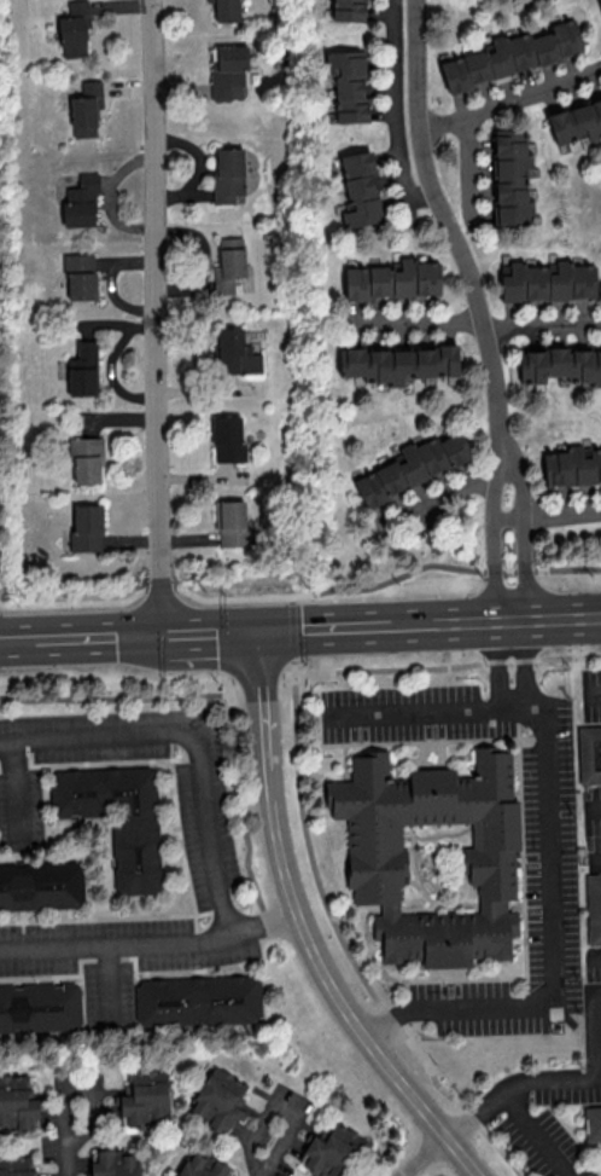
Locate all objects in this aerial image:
building: (600, 1)
building: (226, 10)
building: (348, 10)
building: (74, 28)
building: (510, 54)
building: (229, 69)
building: (348, 83)
road: (512, 88)
building: (86, 108)
building: (576, 121)
building: (228, 174)
building: (510, 176)
building: (358, 189)
building: (80, 201)
road: (451, 237)
building: (228, 265)
building: (80, 276)
building: (392, 279)
building: (548, 282)
road: (154, 315)
road: (420, 320)
road: (541, 321)
building: (235, 352)
building: (398, 363)
building: (560, 363)
building: (82, 369)
building: (227, 438)
building: (86, 458)
building: (414, 465)
building: (571, 467)
road: (521, 486)
road: (490, 489)
road: (451, 491)
road: (561, 510)
road: (504, 512)
building: (231, 522)
building: (86, 527)
road: (491, 566)
road: (521, 566)
road: (387, 579)
road: (158, 586)
road: (291, 598)
road: (72, 599)
road: (300, 627)
traffic signals: (256, 630)
road: (292, 631)
road: (524, 660)
road: (497, 661)
road: (440, 668)
road: (256, 676)
road: (591, 693)
road: (123, 696)
road: (420, 709)
road: (259, 718)
road: (231, 722)
road: (198, 735)
building: (589, 753)
road: (593, 807)
building: (116, 817)
building: (377, 855)
road: (597, 862)
building: (41, 885)
building: (593, 908)
road: (553, 928)
road: (150, 943)
road: (344, 944)
road: (596, 955)
building: (197, 1000)
building: (40, 1006)
road: (344, 1007)
road: (593, 1029)
road: (596, 1077)
road: (510, 1083)
building: (144, 1096)
building: (220, 1100)
building: (17, 1102)
building: (591, 1123)
road: (533, 1134)
building: (331, 1151)
road: (71, 1152)
road: (272, 1155)
road: (424, 1155)
building: (113, 1163)
building: (200, 1165)
building: (16, 1166)

